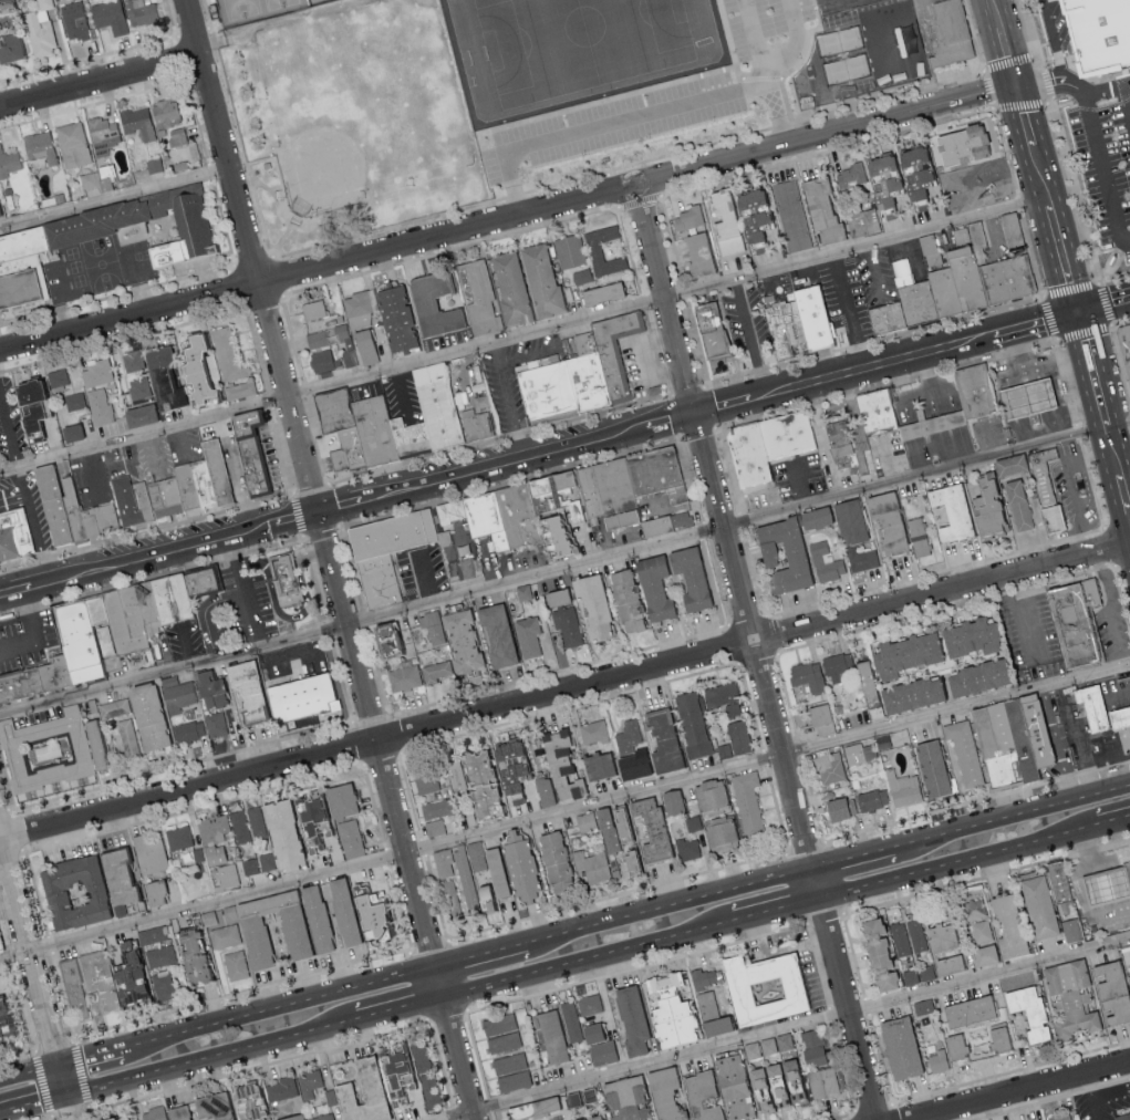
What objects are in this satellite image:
park: (315, 1)
building: (6, 3)
park: (253, 10)
building: (141, 11)
road: (997, 12)
building: (110, 15)
building: (74, 20)
building: (39, 29)
building: (1102, 33)
building: (944, 37)
road: (913, 40)
building: (9, 46)
parking lot: (848, 49)
road: (1008, 56)
road: (812, 69)
road: (100, 83)
traffic signals: (1016, 87)
road: (1109, 90)
building: (164, 112)
road: (639, 115)
road: (1024, 115)
park: (345, 116)
park: (353, 121)
building: (136, 122)
building: (101, 131)
road: (1098, 132)
building: (176, 136)
parking lot: (1097, 142)
building: (71, 144)
building: (960, 144)
building: (39, 145)
building: (9, 162)
building: (153, 164)
building: (912, 169)
building: (872, 179)
building: (985, 179)
building: (968, 197)
road: (114, 198)
building: (952, 199)
building: (821, 211)
building: (750, 212)
building: (791, 215)
building: (191, 216)
building: (687, 218)
building: (99, 219)
building: (724, 221)
road: (508, 222)
building: (861, 222)
road: (1055, 227)
building: (1015, 228)
road: (992, 232)
building: (21, 241)
road: (650, 246)
building: (593, 248)
building: (569, 250)
road: (909, 252)
building: (696, 255)
road: (874, 270)
building: (1006, 272)
building: (581, 274)
building: (954, 276)
building: (525, 282)
road: (774, 282)
building: (18, 287)
building: (600, 292)
building: (479, 299)
building: (432, 303)
building: (904, 303)
road: (1103, 305)
building: (312, 309)
building: (356, 310)
road: (850, 311)
traffic signals: (1078, 313)
building: (394, 317)
building: (818, 317)
building: (798, 329)
building: (343, 333)
building: (781, 333)
road: (523, 336)
building: (315, 338)
road: (753, 338)
road: (972, 341)
building: (717, 342)
building: (1126, 343)
building: (364, 345)
building: (618, 352)
building: (227, 354)
building: (350, 357)
road: (680, 357)
road: (527, 359)
building: (132, 360)
road: (1035, 364)
building: (194, 367)
building: (56, 376)
building: (163, 377)
parking lot: (514, 377)
building: (591, 382)
building: (138, 387)
road: (402, 388)
building: (238, 390)
building: (549, 392)
building: (975, 392)
road: (781, 393)
road: (1098, 394)
building: (464, 398)
building: (1029, 400)
gas station: (1029, 400)
building: (74, 401)
road: (506, 403)
road: (1060, 404)
building: (29, 405)
building: (100, 406)
building: (477, 407)
building: (335, 408)
building: (875, 412)
building: (139, 414)
building: (443, 414)
building: (931, 425)
road: (1046, 425)
building: (377, 429)
building: (71, 432)
building: (792, 433)
building: (412, 437)
road: (184, 439)
road: (607, 439)
road: (986, 439)
road: (831, 440)
building: (850, 448)
building: (351, 450)
building: (255, 452)
building: (753, 454)
road: (120, 457)
road: (162, 457)
road: (889, 459)
building: (1008, 464)
road: (93, 470)
building: (220, 473)
building: (661, 473)
road: (707, 473)
road: (925, 475)
road: (1069, 484)
building: (189, 485)
road: (799, 485)
building: (206, 486)
road: (1086, 486)
building: (1044, 487)
road: (24, 488)
building: (173, 490)
road: (12, 492)
building: (593, 492)
building: (620, 492)
building: (158, 495)
road: (1124, 495)
building: (133, 502)
building: (1017, 504)
building: (55, 505)
building: (985, 506)
road: (680, 508)
building: (560, 510)
building: (950, 511)
building: (525, 515)
building: (491, 517)
building: (813, 517)
building: (848, 520)
building: (96, 521)
building: (885, 521)
building: (671, 525)
road: (259, 530)
building: (14, 536)
building: (916, 536)
building: (390, 552)
building: (792, 553)
building: (861, 559)
road: (331, 560)
building: (823, 561)
building: (468, 569)
building: (688, 577)
building: (288, 579)
building: (206, 581)
road: (423, 581)
building: (653, 587)
road: (248, 592)
building: (522, 592)
building: (556, 597)
building: (175, 599)
building: (625, 600)
building: (592, 604)
building: (151, 608)
road: (1109, 611)
road: (298, 614)
road: (1015, 619)
building: (128, 620)
road: (360, 620)
building: (103, 623)
building: (567, 624)
building: (1079, 624)
building: (432, 628)
building: (496, 634)
road: (32, 635)
building: (528, 636)
building: (968, 636)
building: (385, 637)
building: (460, 640)
parking lot: (25, 642)
building: (82, 643)
building: (904, 653)
building: (838, 667)
building: (434, 671)
building: (807, 675)
building: (404, 676)
building: (975, 676)
building: (863, 677)
building: (38, 681)
building: (246, 688)
building: (209, 689)
building: (176, 693)
road: (564, 694)
building: (719, 694)
building: (909, 694)
building: (301, 701)
building: (113, 707)
building: (1093, 708)
building: (732, 709)
building: (819, 718)
building: (1120, 718)
building: (147, 720)
building: (214, 724)
building: (691, 724)
road: (1069, 725)
building: (1043, 729)
building: (188, 730)
building: (593, 730)
building: (126, 736)
building: (738, 736)
building: (1026, 739)
building: (662, 740)
building: (95, 744)
road: (1059, 744)
building: (1001, 749)
building: (630, 750)
building: (724, 750)
building: (858, 753)
building: (963, 753)
building: (597, 765)
building: (560, 766)
building: (829, 767)
building: (931, 768)
building: (509, 770)
building: (425, 781)
building: (474, 785)
building: (903, 788)
building: (543, 790)
building: (709, 794)
building: (340, 799)
building: (871, 799)
building: (671, 801)
building: (746, 801)
building: (436, 808)
building: (836, 809)
road: (564, 812)
road: (1017, 816)
building: (585, 821)
building: (308, 822)
road: (798, 825)
building: (240, 826)
building: (434, 827)
building: (611, 827)
building: (211, 828)
road: (1109, 828)
building: (719, 834)
building: (646, 836)
building: (178, 837)
building: (272, 837)
building: (350, 838)
building: (687, 849)
building: (149, 852)
building: (214, 853)
road: (858, 859)
building: (554, 860)
building: (488, 865)
building: (519, 865)
building: (591, 867)
road: (953, 867)
building: (228, 874)
building: (116, 875)
road: (986, 875)
building: (1111, 885)
building: (73, 892)
building: (154, 892)
building: (450, 899)
building: (1068, 902)
road: (670, 908)
building: (971, 910)
building: (342, 911)
building: (1046, 911)
building: (366, 913)
road: (770, 913)
building: (209, 916)
road: (825, 917)
building: (315, 919)
building: (1006, 926)
building: (979, 931)
building: (152, 934)
building: (915, 934)
building: (225, 935)
building: (940, 936)
building: (253, 937)
building: (900, 938)
building: (983, 954)
road: (29, 955)
building: (160, 955)
road: (485, 955)
road: (853, 956)
building: (877, 956)
building: (193, 957)
road: (585, 963)
building: (235, 964)
road: (818, 965)
building: (946, 965)
road: (636, 967)
building: (918, 974)
building: (703, 977)
building: (101, 978)
building: (163, 986)
building: (763, 987)
building: (72, 989)
building: (1110, 993)
building: (1069, 997)
building: (588, 1004)
road: (865, 1006)
building: (922, 1006)
road: (284, 1007)
building: (967, 1010)
building: (671, 1012)
building: (1027, 1012)
road: (397, 1013)
building: (711, 1015)
road: (831, 1015)
road: (447, 1017)
building: (631, 1020)
building: (4, 1024)
building: (498, 1024)
building: (577, 1026)
road: (781, 1029)
building: (550, 1036)
building: (998, 1038)
building: (784, 1040)
building: (502, 1041)
building: (954, 1046)
building: (758, 1048)
building: (811, 1048)
building: (898, 1048)
building: (601, 1052)
road: (477, 1054)
road: (94, 1056)
road: (880, 1058)
road: (207, 1061)
building: (936, 1061)
building: (507, 1062)
road: (440, 1064)
road: (261, 1065)
traffic signals: (58, 1066)
road: (844, 1067)
road: (1010, 1071)
road: (29, 1074)
building: (425, 1074)
building: (394, 1078)
building: (512, 1080)
road: (61, 1081)
building: (309, 1082)
building: (776, 1082)
building: (822, 1082)
building: (732, 1087)
building: (280, 1088)
road: (1020, 1089)
building: (361, 1092)
building: (663, 1093)
road: (1107, 1093)
building: (699, 1096)
road: (1089, 1096)
traffic signals: (66, 1098)
building: (571, 1099)
building: (624, 1099)
road: (1049, 1099)
building: (248, 1102)
road: (489, 1103)
road: (33, 1107)
building: (211, 1107)
road: (873, 1107)
road: (69, 1109)
building: (531, 1109)
road: (70, 1110)
road: (93, 1111)
road: (893, 1111)
road: (453, 1112)
building: (165, 1113)
road: (491, 1116)
road: (840, 1116)
road: (857, 1116)
building: (291, 1117)
building: (322, 1117)
road: (50, 1118)
building: (591, 1118)
building: (1061, 1118)
building: (120, 1119)
building: (1127, 1119)

